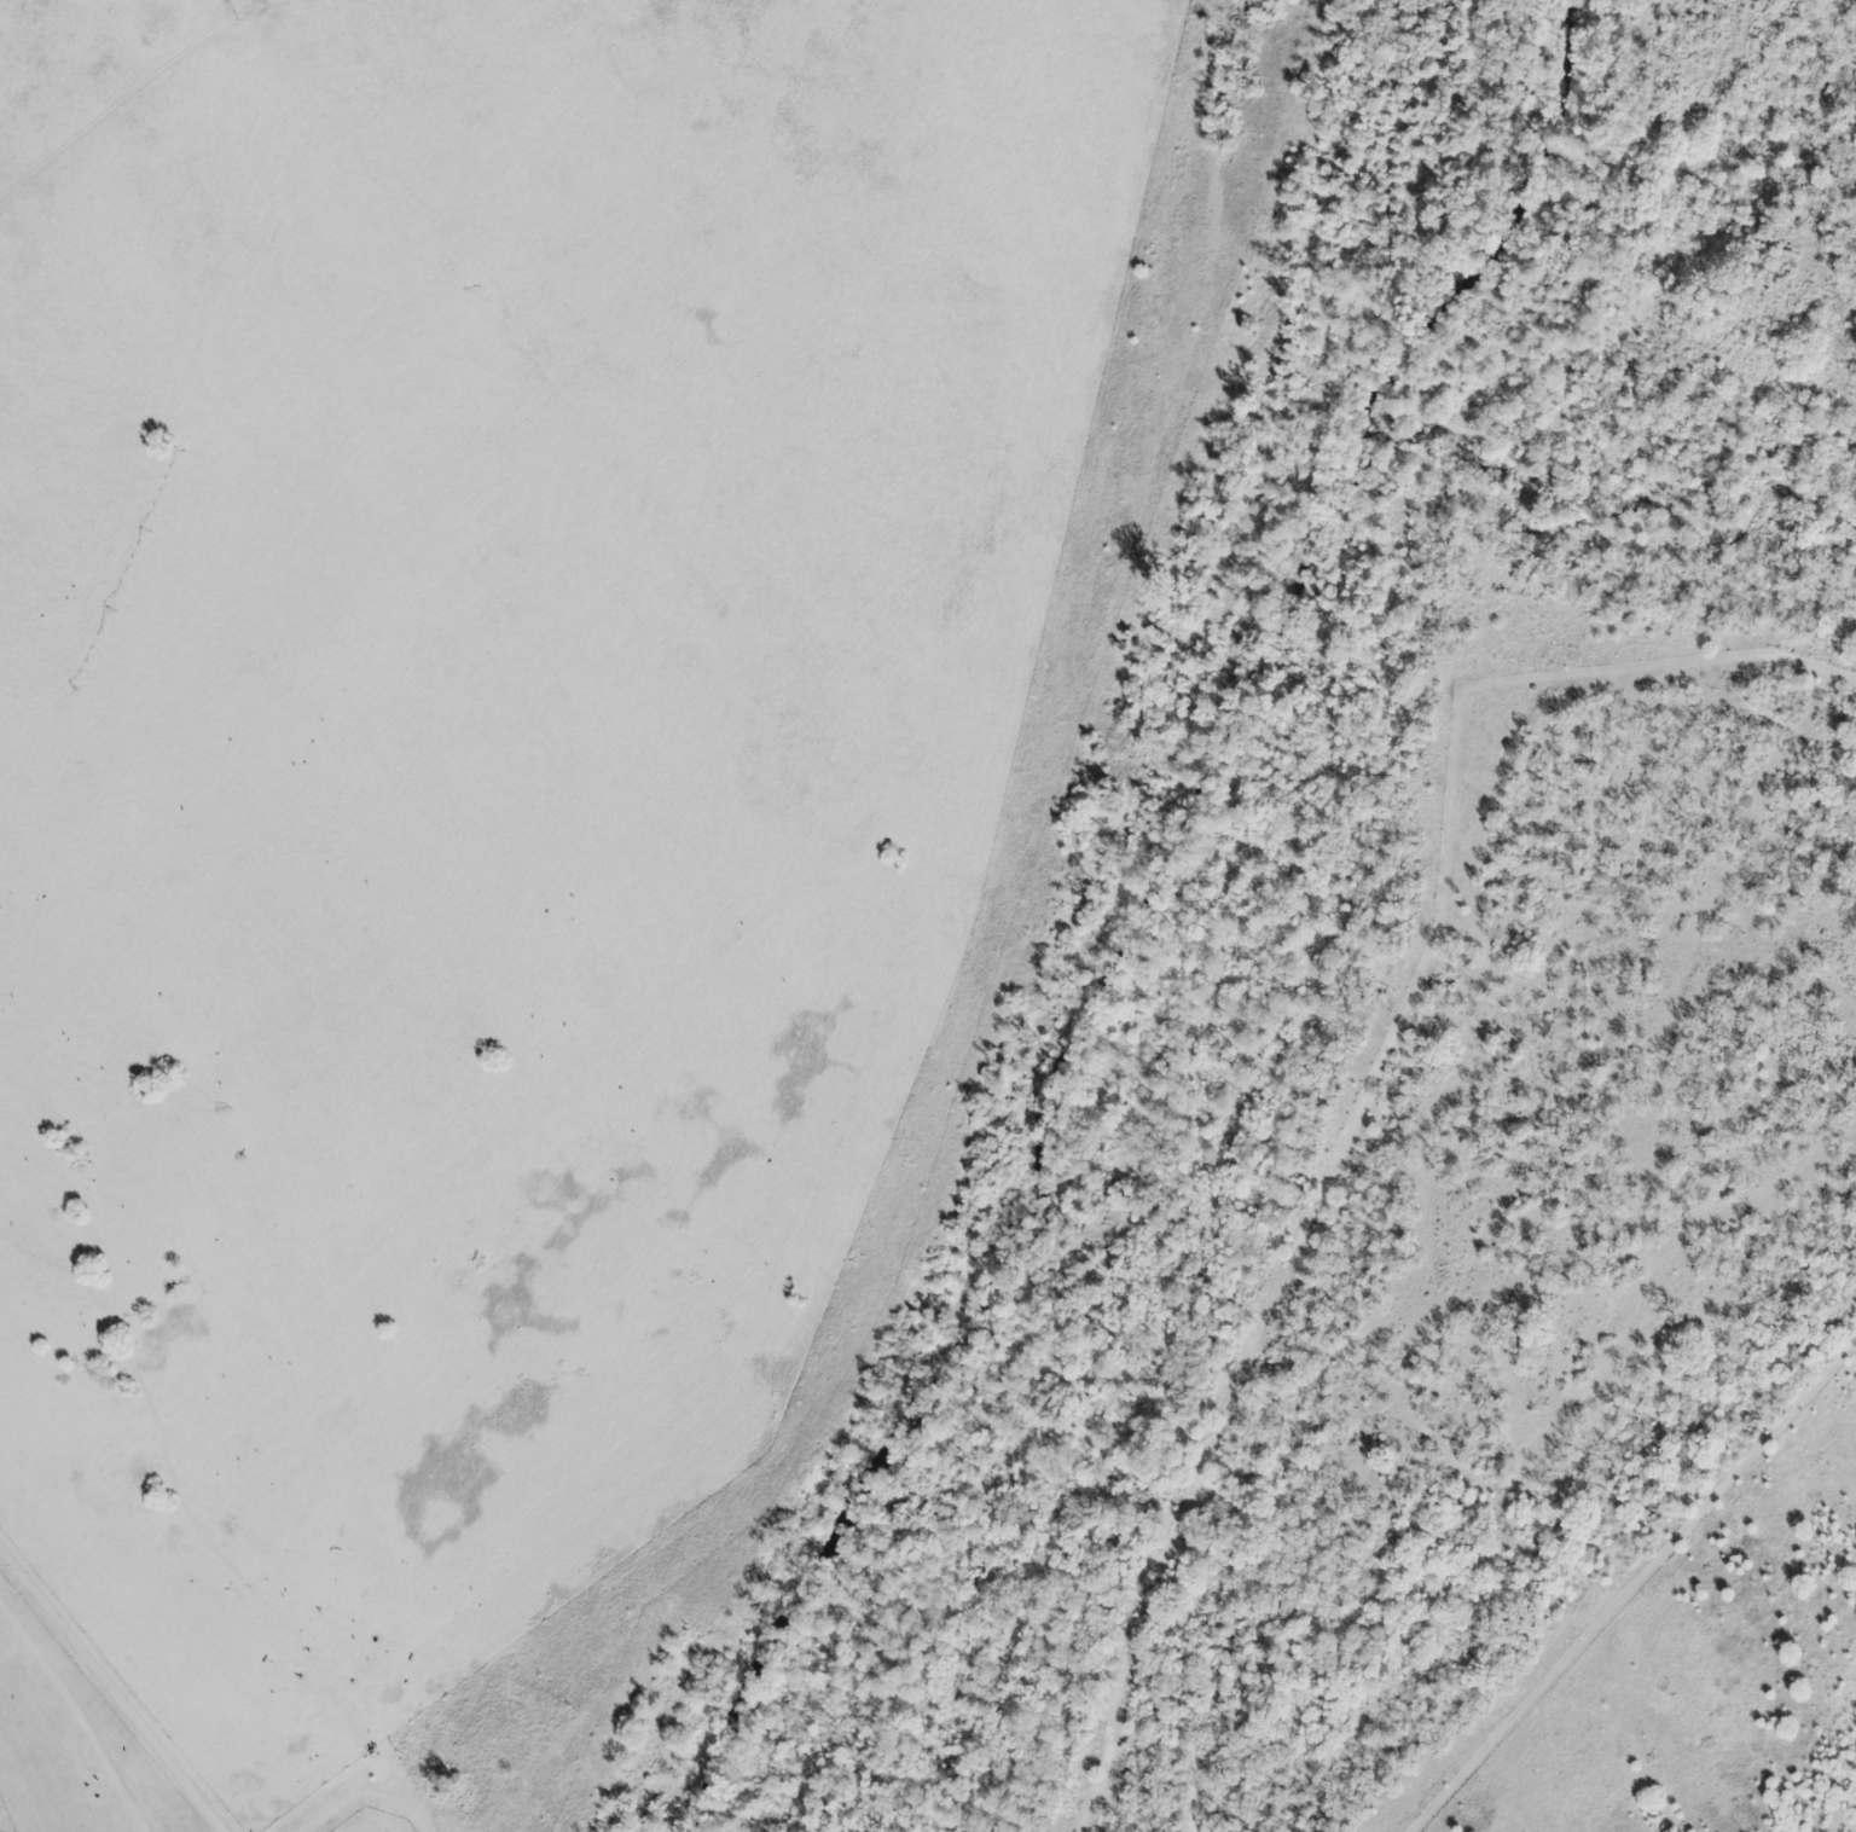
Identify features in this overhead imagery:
river: (1719, 253)
river: (1026, 1177)
road: (116, 1686)
road: (377, 1778)

